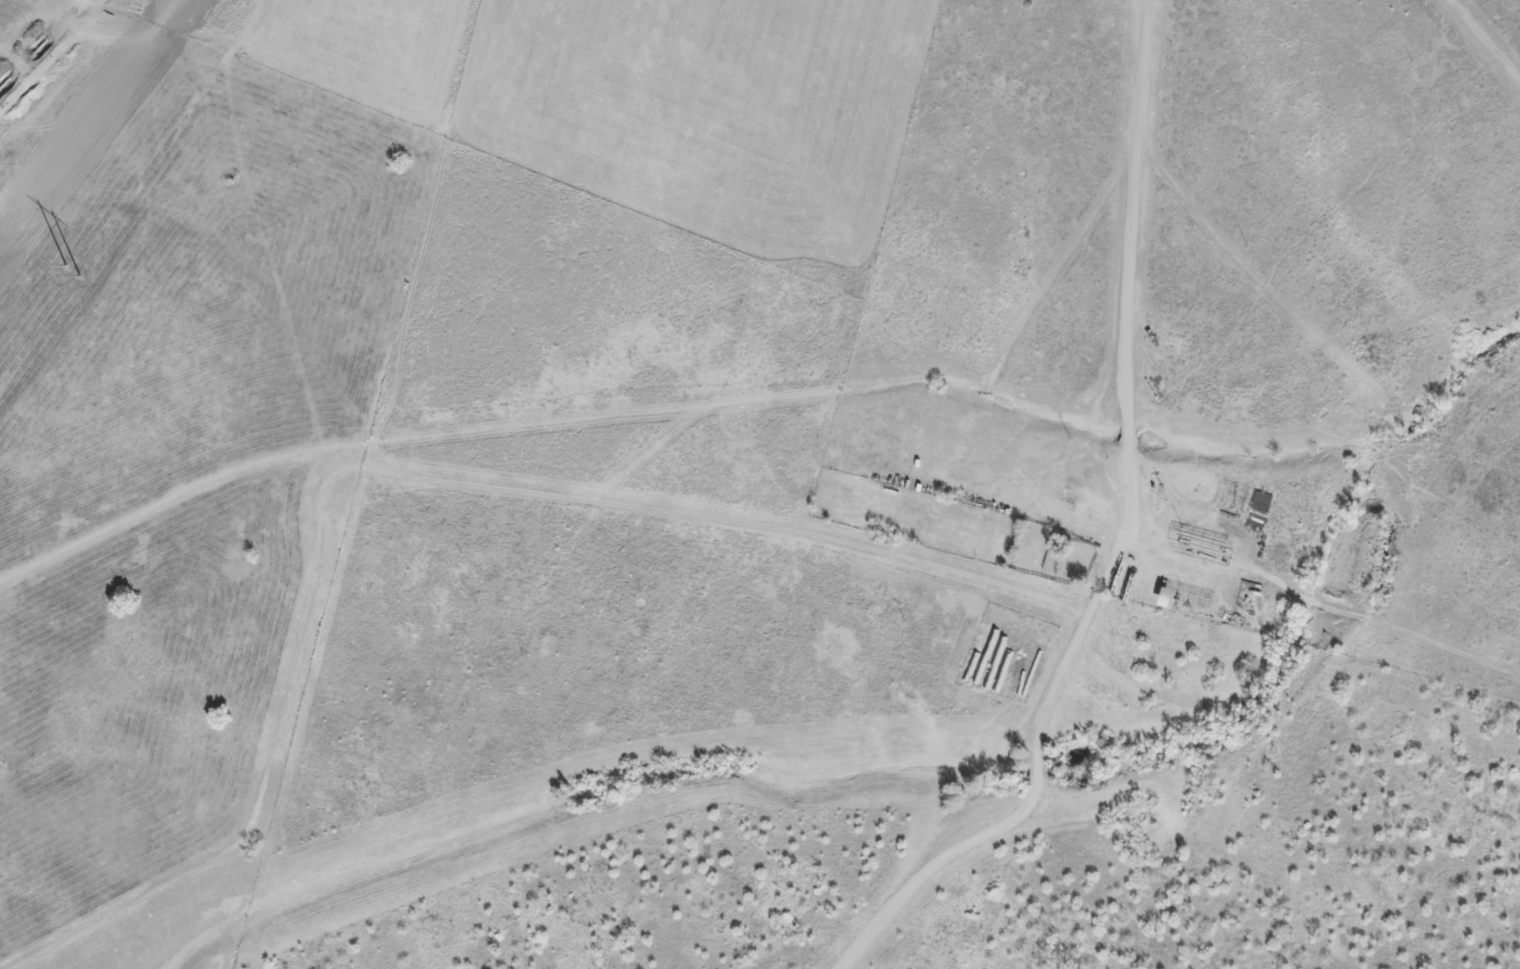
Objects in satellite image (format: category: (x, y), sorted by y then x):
power tower: (80, 264)
road: (1124, 542)

